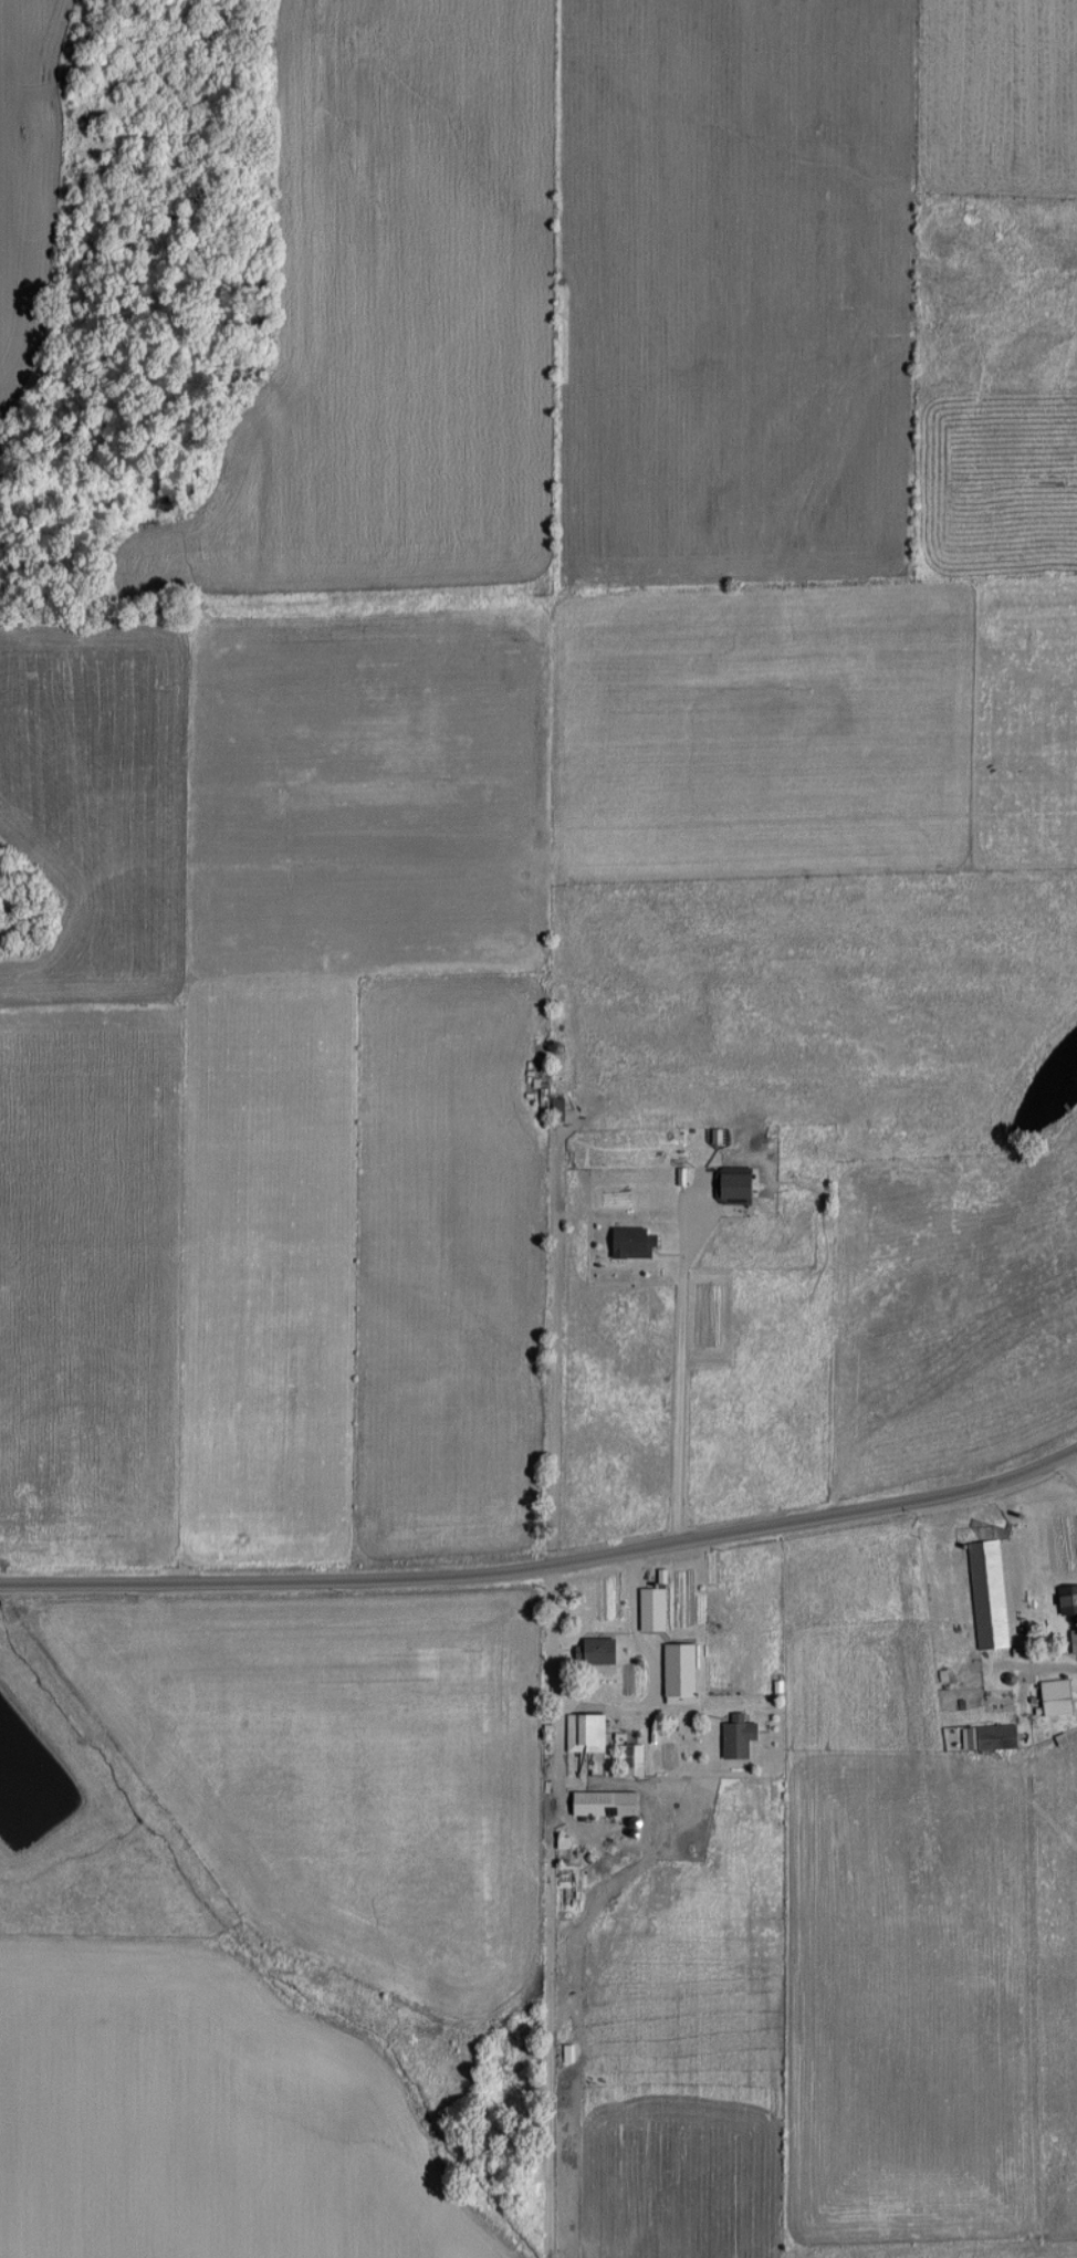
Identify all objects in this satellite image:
building: (142, 8)
building: (553, 1109)
building: (730, 1185)
building: (627, 1242)
road: (683, 1370)
road: (1073, 1471)
road: (544, 1571)
building: (986, 1593)
building: (1065, 1598)
building: (649, 1608)
building: (593, 1650)
building: (676, 1672)
building: (1053, 1696)
building: (995, 1700)
road: (624, 1715)
building: (582, 1732)
building: (993, 1736)
building: (734, 1738)
building: (630, 1759)
building: (599, 1802)

